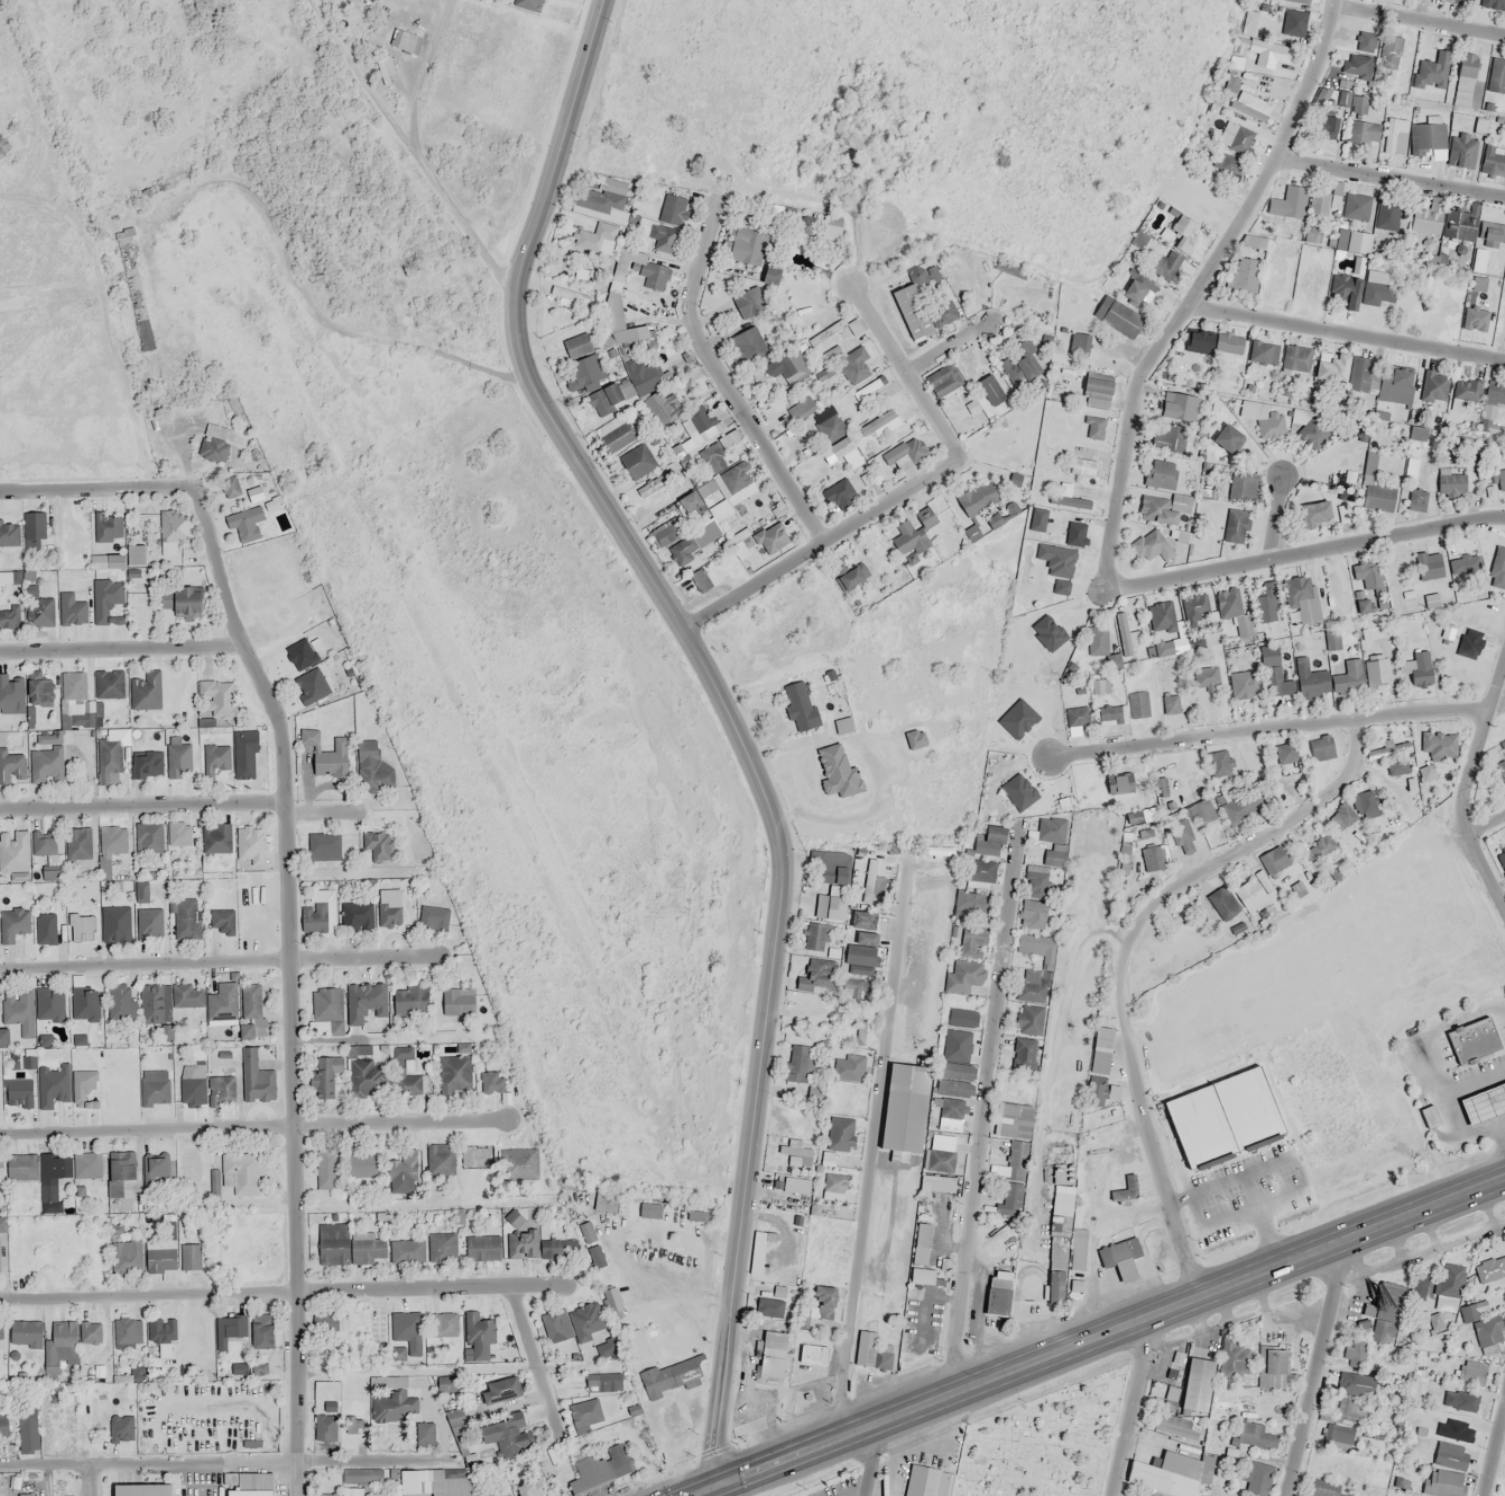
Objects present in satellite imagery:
building: (1295, 0)
building: (1494, 3)
road: (1419, 21)
building: (1293, 22)
building: (1251, 36)
building: (1366, 41)
building: (1390, 50)
building: (385, 65)
building: (1357, 65)
building: (1433, 70)
building: (1497, 74)
building: (1464, 79)
building: (1345, 83)
building: (1360, 105)
building: (1479, 125)
building: (1327, 127)
building: (1363, 132)
building: (1395, 136)
building: (1427, 136)
building: (1236, 137)
building: (1467, 153)
road: (1391, 178)
building: (1324, 199)
building: (1288, 202)
building: (1356, 206)
building: (673, 209)
building: (601, 214)
building: (1388, 214)
building: (1426, 217)
building: (1460, 224)
building: (1491, 227)
building: (1184, 232)
building: (1312, 234)
building: (664, 238)
building: (1253, 241)
building: (1353, 241)
building: (623, 268)
building: (771, 275)
building: (1151, 276)
building: (1377, 287)
building: (1344, 289)
road: (1199, 291)
building: (748, 302)
building: (922, 312)
building: (1119, 317)
building: (1475, 318)
road: (1347, 332)
building: (629, 334)
building: (1199, 340)
building: (1229, 343)
building: (748, 344)
building: (1079, 344)
building: (578, 345)
road: (940, 352)
building: (1264, 352)
building: (1297, 357)
building: (1020, 364)
building: (850, 365)
road: (904, 367)
building: (1332, 367)
building: (1361, 374)
road: (722, 377)
building: (646, 379)
building: (944, 379)
building: (1434, 388)
building: (991, 389)
building: (1097, 389)
building: (1392, 391)
building: (1466, 392)
building: (1495, 392)
building: (605, 398)
building: (1178, 407)
building: (786, 409)
building: (1254, 409)
building: (828, 424)
building: (880, 424)
building: (1095, 427)
building: (1417, 433)
building: (1164, 437)
building: (1228, 438)
building: (213, 444)
building: (840, 447)
building: (901, 459)
building: (638, 461)
building: (1082, 466)
building: (1160, 473)
building: (1498, 480)
building: (1451, 482)
building: (650, 485)
building: (1241, 486)
road: (97, 489)
building: (715, 491)
building: (1378, 497)
building: (977, 498)
building: (1416, 500)
building: (1069, 501)
building: (1165, 508)
building: (1314, 514)
road: (1277, 517)
building: (245, 523)
building: (1235, 525)
building: (107, 526)
building: (34, 529)
building: (664, 529)
building: (918, 530)
building: (172, 531)
building: (9, 532)
building: (1179, 534)
building: (1057, 538)
road: (822, 541)
building: (693, 542)
building: (1148, 545)
road: (1304, 554)
building: (120, 558)
building: (1464, 564)
building: (1428, 565)
building: (1498, 568)
building: (6, 577)
building: (1371, 581)
building: (1301, 597)
building: (1430, 599)
building: (181, 601)
building: (1266, 601)
building: (108, 602)
building: (40, 608)
building: (71, 609)
building: (1195, 609)
building: (1234, 610)
building: (1161, 616)
building: (8, 618)
building: (1373, 632)
building: (1125, 634)
building: (1204, 637)
building: (1096, 642)
building: (1470, 642)
road: (121, 648)
building: (300, 654)
building: (1417, 668)
building: (1274, 672)
building: (1377, 674)
building: (1348, 676)
building: (1206, 677)
building: (1310, 680)
building: (109, 684)
building: (74, 685)
building: (311, 685)
building: (1244, 685)
building: (1101, 686)
building: (39, 689)
building: (146, 690)
building: (11, 694)
building: (215, 699)
building: (1171, 703)
building: (1137, 704)
building: (800, 706)
building: (1109, 713)
building: (1077, 715)
road: (741, 721)
road: (1266, 730)
building: (309, 736)
building: (1440, 745)
building: (1321, 748)
building: (244, 754)
building: (179, 757)
building: (1287, 757)
building: (110, 759)
building: (216, 759)
building: (332, 759)
building: (146, 763)
building: (1218, 763)
building: (46, 764)
building: (1396, 765)
building: (12, 766)
building: (1119, 782)
building: (1015, 786)
building: (1160, 786)
building: (1200, 786)
road: (1468, 786)
building: (1364, 803)
road: (181, 806)
building: (1139, 816)
building: (1046, 826)
road: (1487, 826)
building: (179, 833)
building: (149, 836)
building: (217, 838)
building: (993, 838)
building: (378, 841)
building: (79, 843)
building: (251, 845)
building: (323, 846)
building: (111, 847)
building: (49, 851)
building: (15, 854)
building: (1155, 857)
building: (1276, 857)
building: (1502, 861)
building: (1038, 889)
building: (1251, 896)
building: (974, 902)
building: (1222, 902)
building: (831, 906)
building: (320, 911)
building: (389, 914)
building: (358, 915)
building: (186, 919)
building: (863, 919)
building: (222, 920)
building: (116, 923)
building: (149, 923)
building: (13, 924)
building: (82, 927)
building: (46, 928)
building: (818, 936)
building: (969, 936)
building: (1037, 947)
building: (862, 955)
road: (1126, 955)
road: (221, 963)
building: (819, 975)
building: (964, 976)
road: (291, 983)
building: (1032, 985)
building: (856, 987)
building: (167, 1000)
building: (119, 1001)
building: (410, 1001)
building: (458, 1001)
building: (223, 1002)
building: (86, 1003)
building: (50, 1004)
building: (367, 1006)
building: (23, 1010)
building: (326, 1010)
building: (250, 1011)
building: (1029, 1019)
building: (953, 1042)
building: (29, 1058)
building: (798, 1064)
building: (1099, 1066)
building: (848, 1068)
building: (453, 1073)
building: (406, 1075)
building: (255, 1077)
building: (324, 1077)
building: (367, 1078)
building: (955, 1078)
building: (194, 1084)
building: (129, 1085)
building: (155, 1086)
building: (220, 1086)
building: (84, 1088)
building: (50, 1089)
building: (19, 1093)
building: (1483, 1102)
building: (905, 1107)
building: (950, 1107)
road: (985, 1111)
building: (1013, 1117)
road: (254, 1125)
building: (839, 1135)
road: (873, 1146)
building: (796, 1149)
building: (477, 1156)
building: (440, 1159)
building: (938, 1159)
building: (518, 1163)
building: (87, 1164)
building: (363, 1165)
building: (22, 1166)
building: (56, 1166)
building: (159, 1168)
building: (327, 1168)
building: (120, 1170)
building: (403, 1173)
building: (239, 1174)
building: (936, 1183)
building: (796, 1184)
building: (834, 1186)
building: (51, 1207)
building: (650, 1209)
building: (587, 1232)
building: (917, 1239)
building: (537, 1242)
building: (332, 1244)
building: (1074, 1244)
building: (479, 1246)
building: (442, 1247)
building: (369, 1249)
building: (408, 1249)
building: (161, 1254)
building: (128, 1255)
building: (595, 1255)
building: (191, 1256)
building: (1121, 1258)
building: (1056, 1268)
building: (917, 1271)
road: (283, 1290)
building: (1419, 1290)
building: (998, 1293)
road: (1182, 1301)
building: (825, 1302)
building: (1389, 1305)
building: (769, 1307)
building: (1442, 1308)
building: (1482, 1326)
building: (1, 1329)
building: (162, 1329)
building: (230, 1329)
building: (127, 1330)
building: (262, 1330)
building: (26, 1332)
building: (90, 1332)
building: (406, 1334)
building: (481, 1339)
building: (64, 1342)
building: (808, 1348)
building: (866, 1348)
building: (1354, 1353)
building: (773, 1354)
road: (532, 1359)
building: (1271, 1367)
road: (1315, 1367)
building: (1471, 1372)
building: (1192, 1381)
building: (1355, 1384)
building: (495, 1385)
building: (391, 1398)
building: (1460, 1400)
road: (1136, 1403)
building: (1232, 1408)
building: (1385, 1416)
road: (1504, 1417)
building: (3, 1422)
building: (28, 1424)
building: (1174, 1425)
building: (325, 1427)
building: (1455, 1431)
building: (423, 1432)
building: (1246, 1432)
building: (508, 1434)
park: (1043, 1442)
road: (1495, 1454)
road: (773, 1461)
road: (870, 1461)
road: (222, 1462)
building: (600, 1468)
building: (1446, 1469)
building: (1165, 1476)
building: (1255, 1476)
road: (89, 1480)
building: (923, 1480)
building: (439, 1481)
traffic signals: (713, 1486)
building: (135, 1487)
building: (532, 1487)
building: (1325, 1489)
building: (243, 1490)
building: (352, 1491)
building: (27, 1494)

